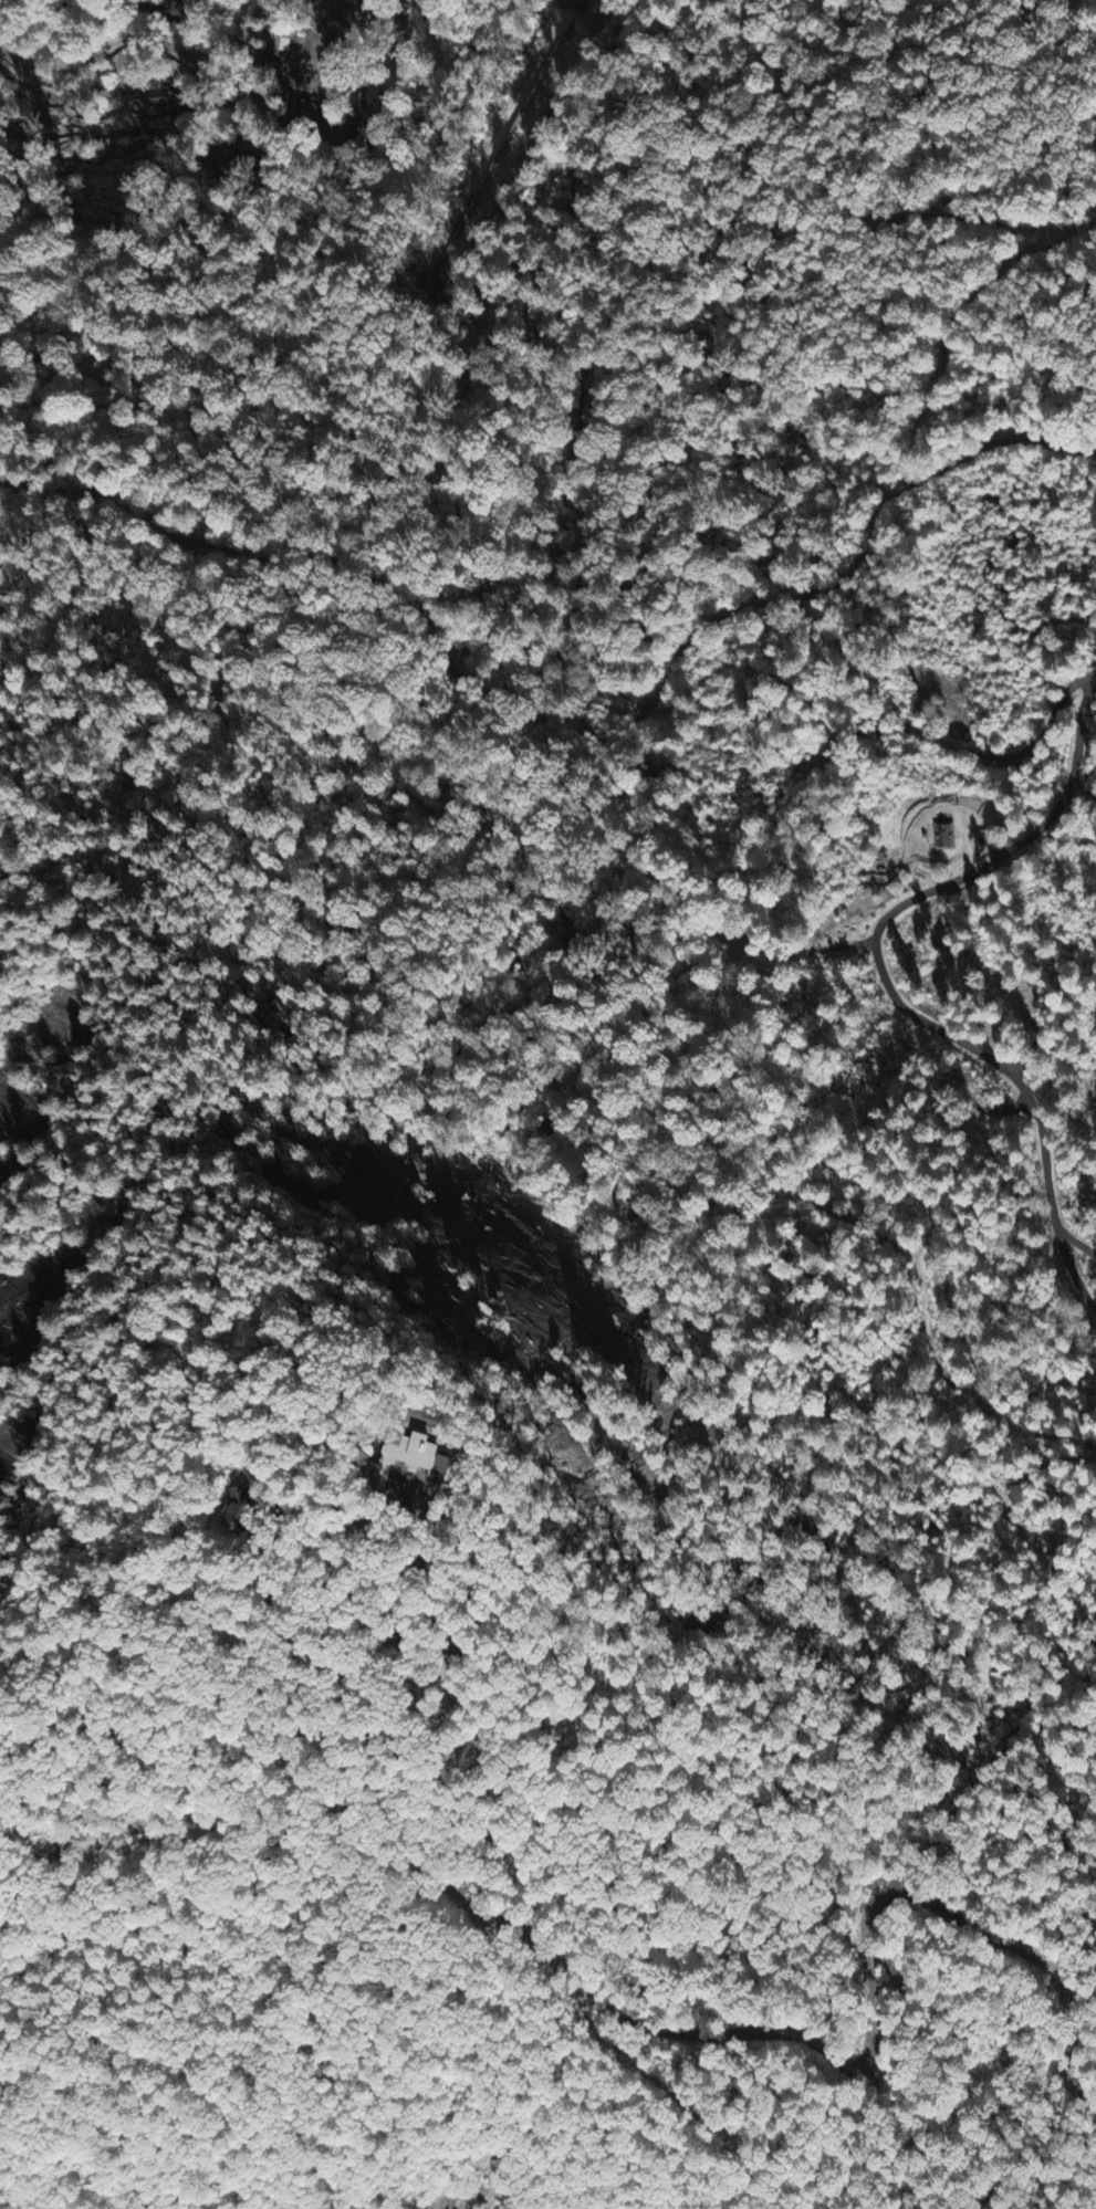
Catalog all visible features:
building: (179, 14)
road: (143, 43)
building: (280, 50)
building: (154, 102)
road: (551, 702)
building: (941, 837)
road: (890, 990)
building: (408, 1462)
building: (241, 1512)
road: (691, 2033)

